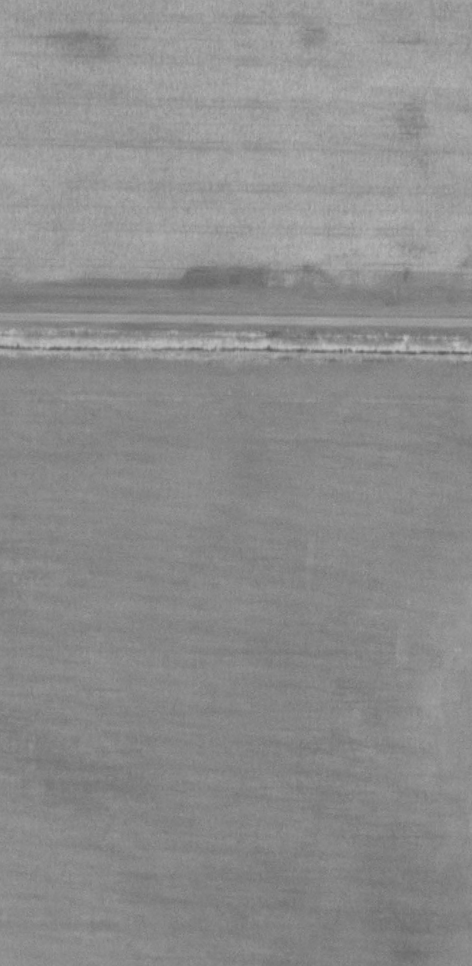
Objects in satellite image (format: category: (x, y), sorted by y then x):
road: (236, 311)

